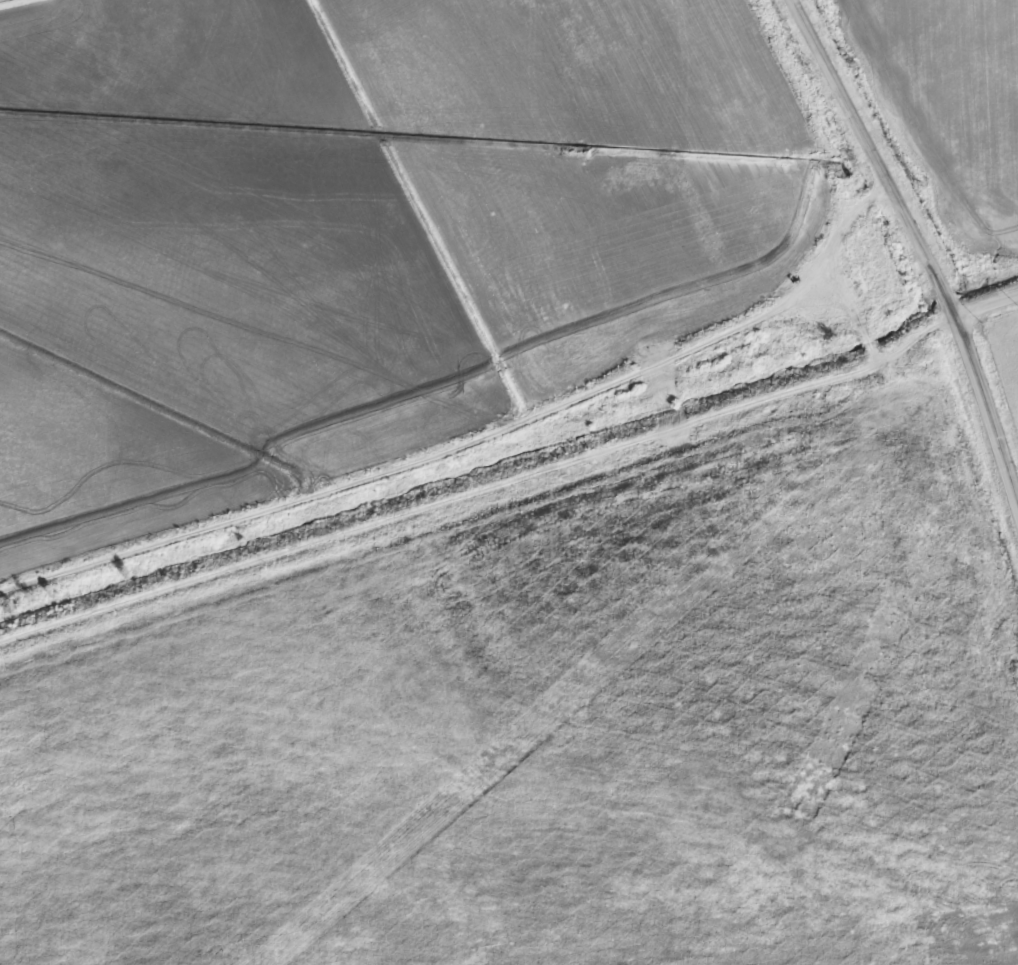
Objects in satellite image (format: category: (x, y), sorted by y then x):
road: (920, 252)
road: (985, 302)
road: (569, 396)

